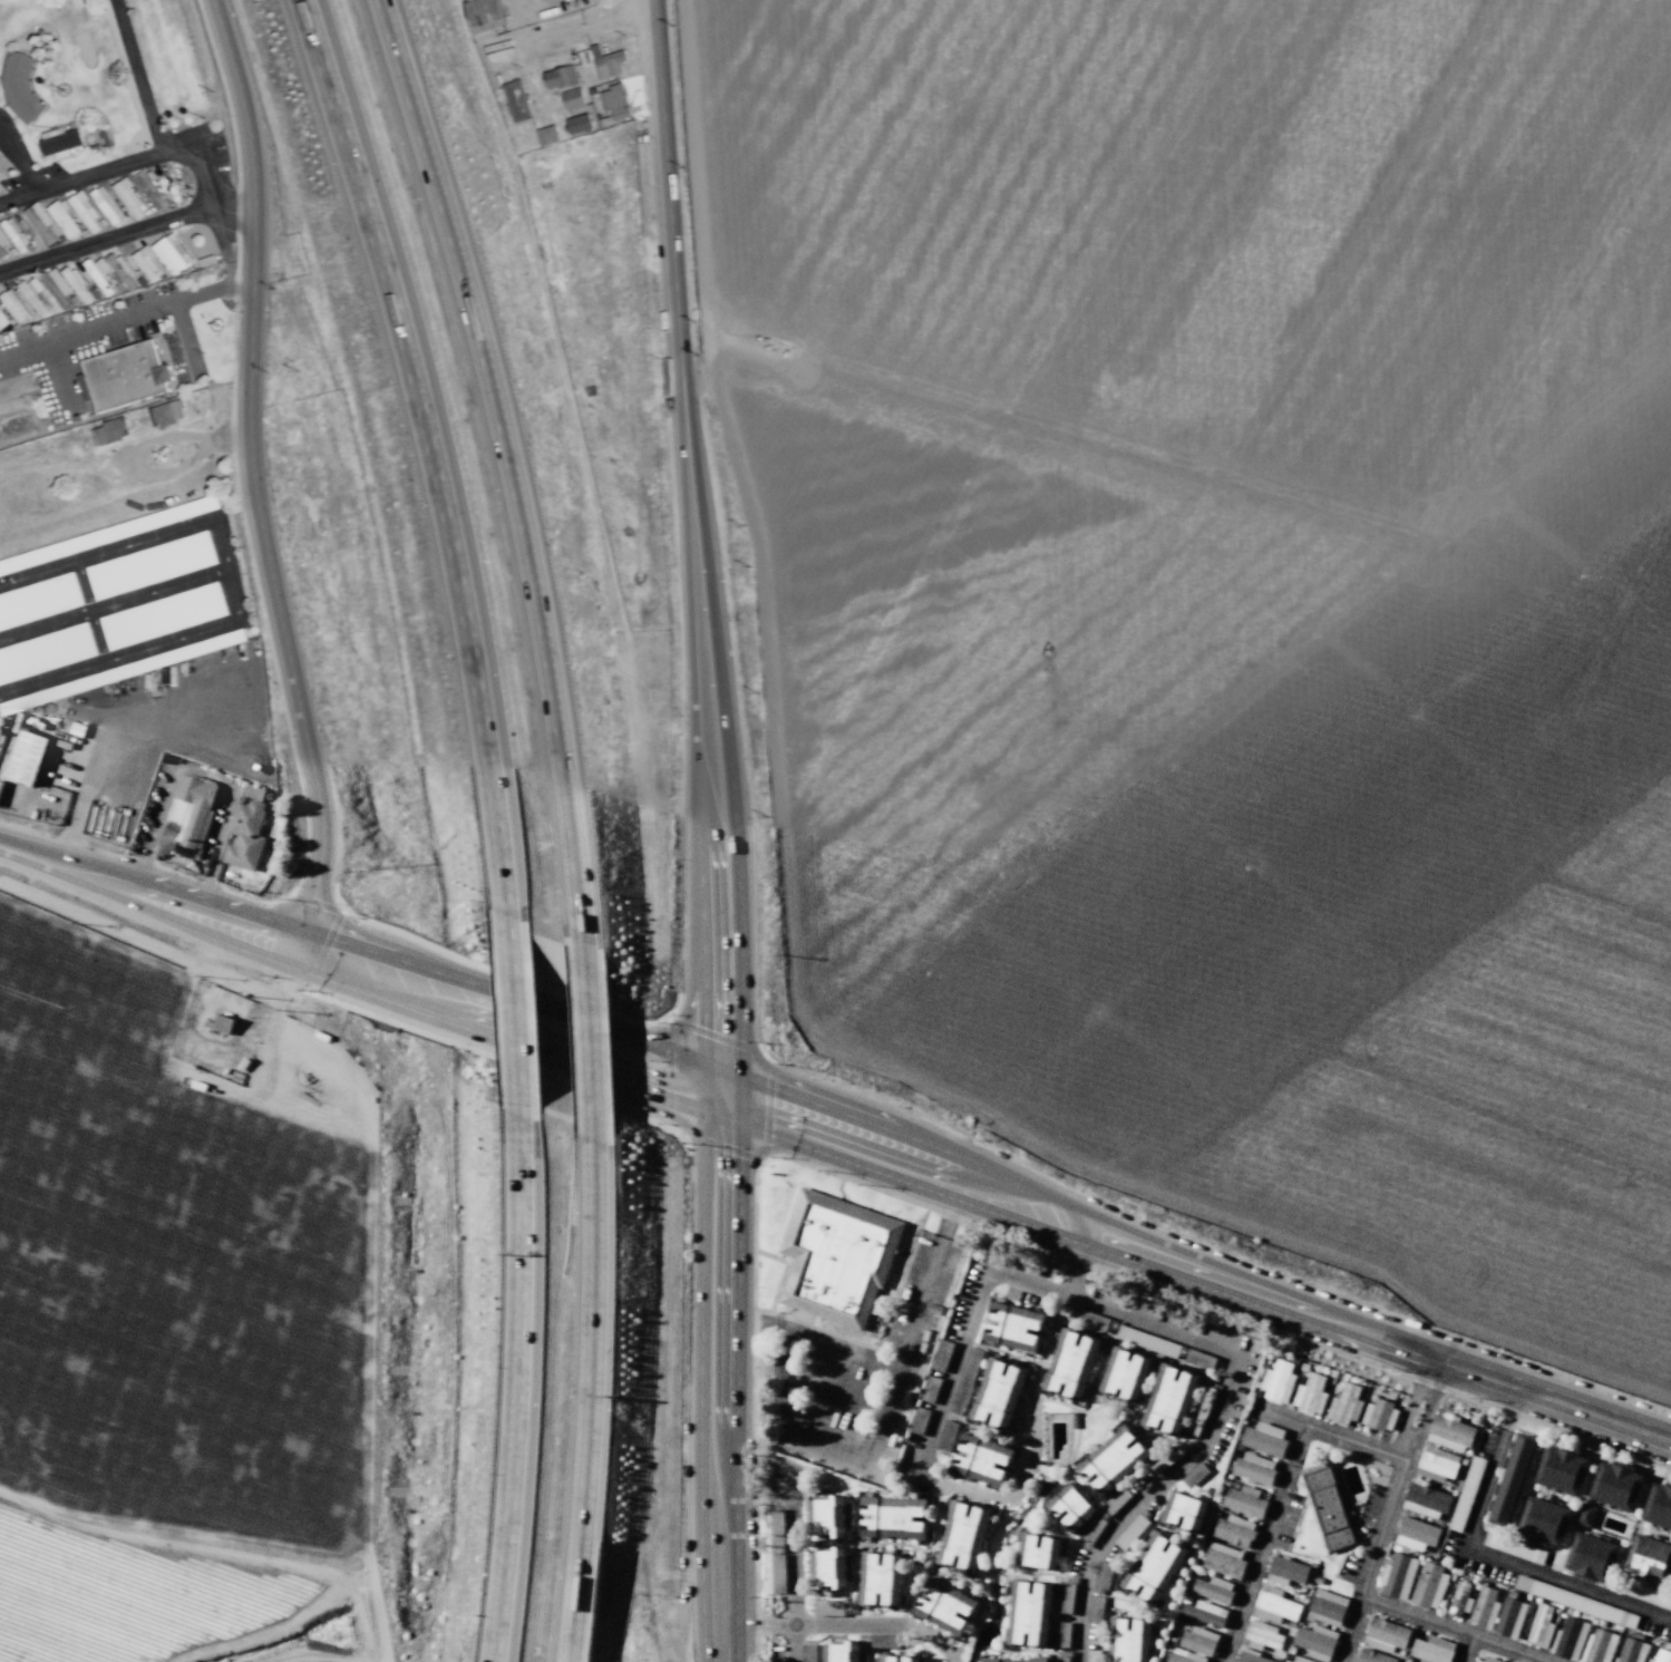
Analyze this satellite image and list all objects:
building: (484, 17)
road: (587, 23)
building: (610, 64)
building: (562, 77)
building: (19, 89)
building: (574, 98)
building: (616, 106)
road: (148, 111)
building: (580, 124)
building: (60, 144)
road: (91, 177)
building: (150, 191)
building: (128, 195)
building: (108, 206)
road: (230, 208)
building: (85, 211)
building: (64, 220)
building: (40, 222)
road: (104, 240)
building: (172, 253)
building: (146, 263)
building: (100, 274)
building: (82, 293)
building: (13, 305)
road: (137, 312)
building: (2, 321)
building: (126, 376)
building: (162, 415)
road: (436, 454)
road: (513, 468)
road: (251, 478)
road: (701, 550)
building: (152, 565)
building: (39, 601)
crop: (1230, 601)
building: (163, 615)
building: (46, 653)
building: (25, 757)
building: (245, 836)
road: (147, 905)
road: (96, 939)
road: (240, 984)
road: (513, 1017)
building: (221, 1023)
road: (274, 1026)
road: (509, 1027)
road: (168, 1038)
road: (587, 1040)
road: (329, 1067)
road: (308, 1101)
traffic signals: (722, 1101)
building: (836, 1255)
road: (1082, 1255)
building: (1011, 1260)
road: (1196, 1270)
road: (1070, 1286)
building: (1089, 1319)
building: (1012, 1326)
road: (367, 1332)
crop: (163, 1341)
building: (1148, 1341)
building: (942, 1354)
building: (1201, 1359)
road: (897, 1362)
building: (1070, 1363)
road: (953, 1370)
parking lot: (858, 1372)
building: (1124, 1374)
building: (965, 1380)
road: (719, 1381)
building: (1276, 1382)
road: (518, 1388)
building: (931, 1389)
building: (997, 1392)
building: (1309, 1394)
road: (589, 1397)
building: (1169, 1400)
road: (1221, 1405)
building: (1344, 1405)
building: (1202, 1411)
building: (1379, 1415)
building: (920, 1421)
building: (1448, 1432)
building: (946, 1436)
road: (1335, 1436)
building: (1264, 1439)
building: (980, 1458)
building: (1113, 1459)
building: (1164, 1460)
building: (1436, 1464)
building: (1254, 1468)
building: (1557, 1468)
building: (1195, 1475)
building: (1507, 1478)
building: (1613, 1484)
building: (1467, 1494)
building: (1116, 1500)
building: (1244, 1500)
building: (1427, 1501)
building: (1657, 1505)
building: (1071, 1506)
building: (1328, 1508)
road: (1387, 1508)
building: (1185, 1509)
building: (1584, 1515)
building: (892, 1516)
building: (825, 1517)
building: (1539, 1520)
building: (1094, 1528)
building: (1233, 1530)
road: (197, 1532)
building: (1131, 1532)
building: (1416, 1534)
building: (963, 1535)
road: (1262, 1543)
road: (789, 1545)
building: (1512, 1546)
building: (1038, 1551)
building: (776, 1553)
road: (1487, 1553)
building: (1589, 1556)
building: (1648, 1558)
road: (259, 1559)
building: (1224, 1561)
building: (1155, 1566)
building: (827, 1567)
building: (1285, 1571)
building: (1105, 1575)
building: (1397, 1576)
building: (881, 1577)
building: (1428, 1586)
building: (1213, 1590)
building: (1648, 1594)
building: (1066, 1597)
building: (1573, 1600)
building: (1459, 1602)
road: (376, 1603)
building: (1275, 1605)
building: (944, 1606)
building: (1096, 1607)
building: (1325, 1607)
building: (1484, 1607)
building: (826, 1608)
building: (1029, 1612)
building: (1205, 1613)
building: (1509, 1617)
road: (747, 1623)
road: (778, 1623)
road: (882, 1625)
building: (1539, 1626)
road: (1456, 1630)
road: (790, 1632)
building: (1062, 1634)
building: (1386, 1634)
building: (1262, 1636)
building: (1568, 1639)
building: (1128, 1640)
building: (883, 1641)
building: (1198, 1641)
building: (1315, 1641)
road: (791, 1646)
building: (1599, 1646)
road: (1465, 1649)
building: (1431, 1650)
building: (1631, 1651)
building: (841, 1652)
building: (808, 1653)
building: (1092, 1655)
building: (1183, 1656)
building: (1251, 1656)
building: (1370, 1656)
building: (887, 1658)
building: (910, 1658)
building: (1016, 1658)
building: (1660, 1658)
road: (307, 1659)
building: (1062, 1659)
building: (1299, 1659)
building: (1486, 1659)
building: (777, 1660)
road: (951, 1660)

